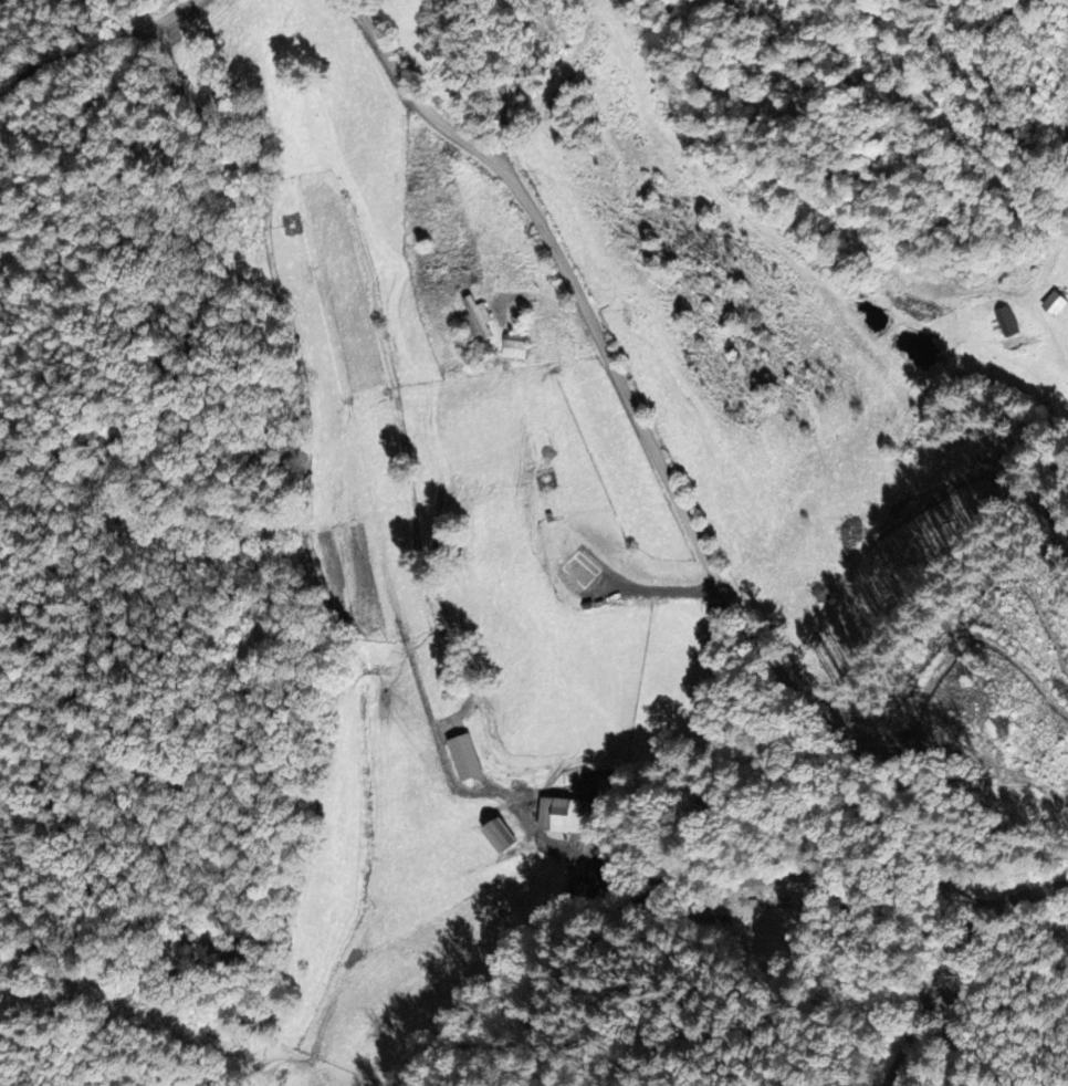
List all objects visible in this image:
road: (97, 49)
road: (502, 85)
building: (1056, 303)
building: (478, 316)
building: (1007, 321)
building: (514, 345)
road: (676, 500)
building: (465, 756)
building: (562, 815)
building: (500, 836)
road: (944, 996)

